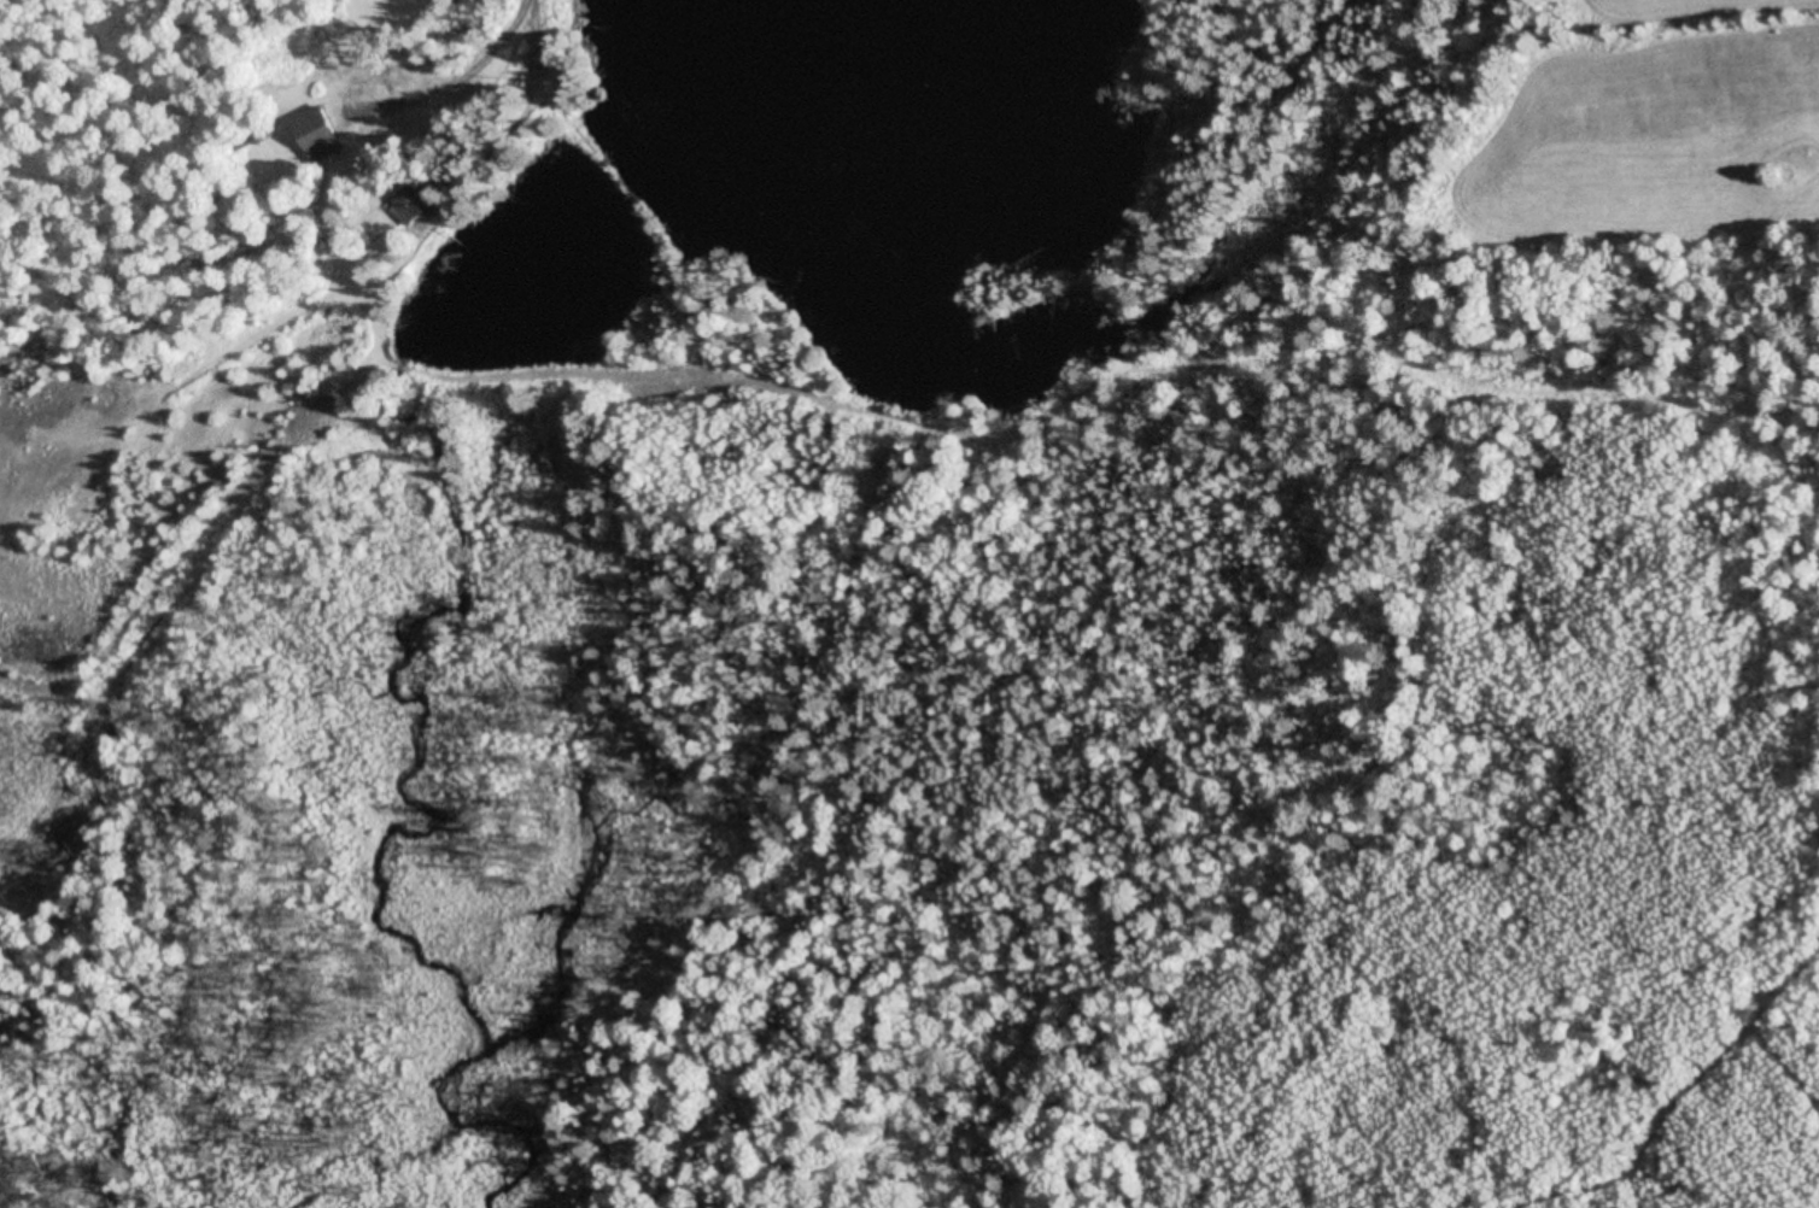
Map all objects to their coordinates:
road: (486, 42)
building: (317, 134)
building: (245, 137)
building: (411, 204)

